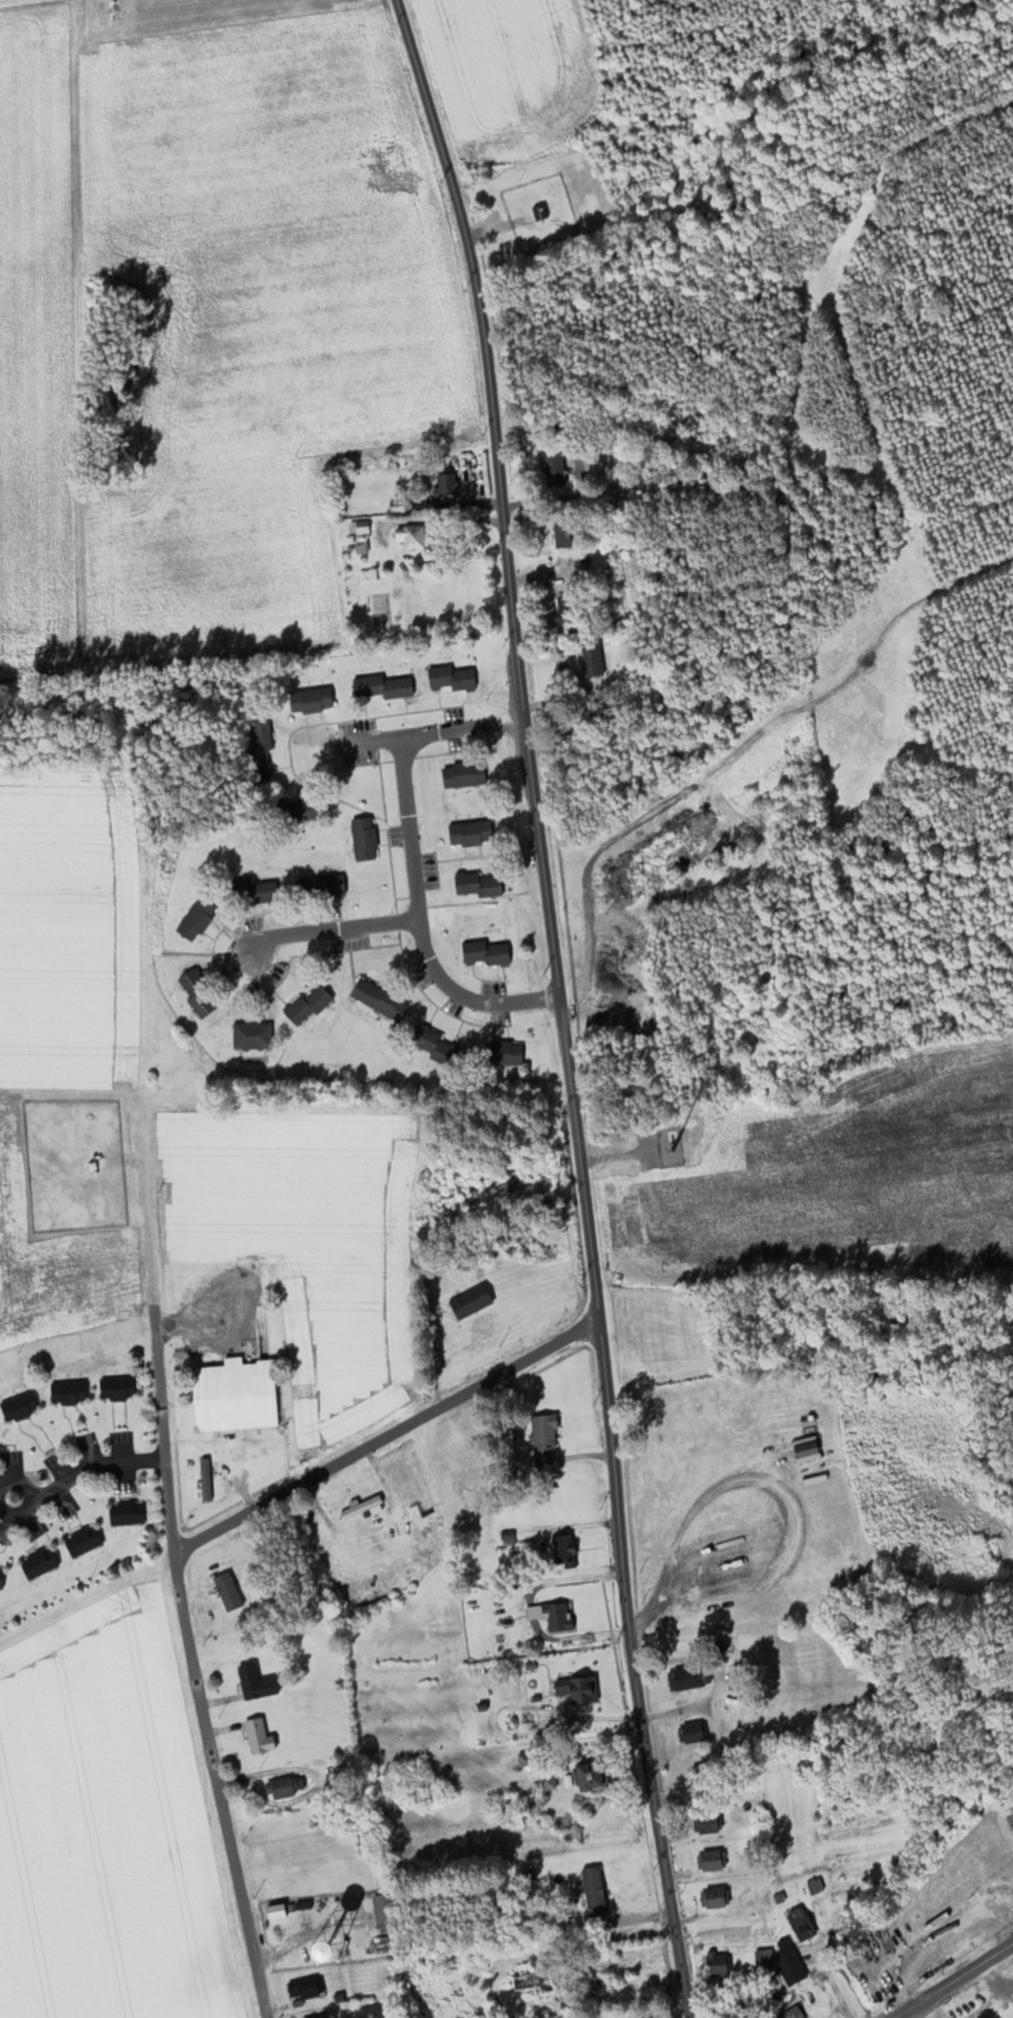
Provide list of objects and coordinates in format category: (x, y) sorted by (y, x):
building: (539, 214)
building: (554, 468)
building: (444, 483)
road: (502, 493)
building: (359, 529)
building: (410, 536)
building: (561, 536)
building: (361, 548)
building: (592, 660)
building: (450, 679)
building: (382, 688)
building: (310, 701)
road: (408, 735)
building: (260, 749)
building: (463, 775)
building: (470, 834)
building: (364, 839)
building: (477, 885)
building: (322, 886)
building: (252, 893)
building: (196, 920)
road: (420, 923)
road: (324, 929)
building: (485, 954)
building: (198, 993)
building: (379, 1000)
building: (308, 1005)
building: (252, 1036)
building: (434, 1047)
building: (513, 1054)
road: (145, 1201)
building: (470, 1302)
road: (252, 1304)
building: (117, 1388)
building: (68, 1392)
building: (235, 1396)
building: (19, 1407)
road: (387, 1436)
building: (544, 1441)
road: (80, 1471)
building: (205, 1480)
road: (619, 1507)
building: (361, 1508)
building: (126, 1514)
building: (509, 1538)
building: (83, 1542)
building: (564, 1554)
building: (39, 1564)
building: (1, 1578)
building: (228, 1593)
building: (556, 1618)
road: (194, 1663)
building: (689, 1679)
building: (249, 1682)
building: (578, 1690)
building: (691, 1733)
building: (259, 1737)
building: (705, 1775)
building: (588, 1777)
building: (285, 1788)
building: (706, 1822)
building: (710, 1862)
building: (815, 1886)
building: (594, 1893)
building: (712, 1899)
building: (383, 1911)
building: (838, 1915)
building: (801, 1924)
building: (762, 1960)
building: (789, 1964)
building: (716, 1965)
road: (955, 1980)
road: (834, 1983)
building: (597, 1984)
building: (529, 1985)
building: (303, 1990)
building: (793, 2013)
building: (330, 2016)

